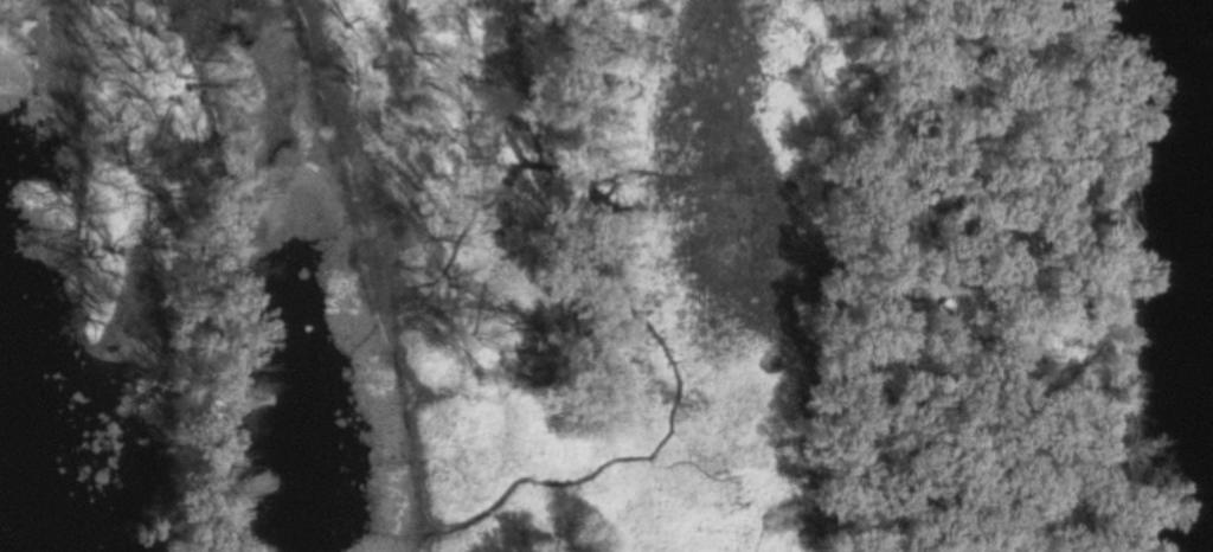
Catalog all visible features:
river: (28, 514)

